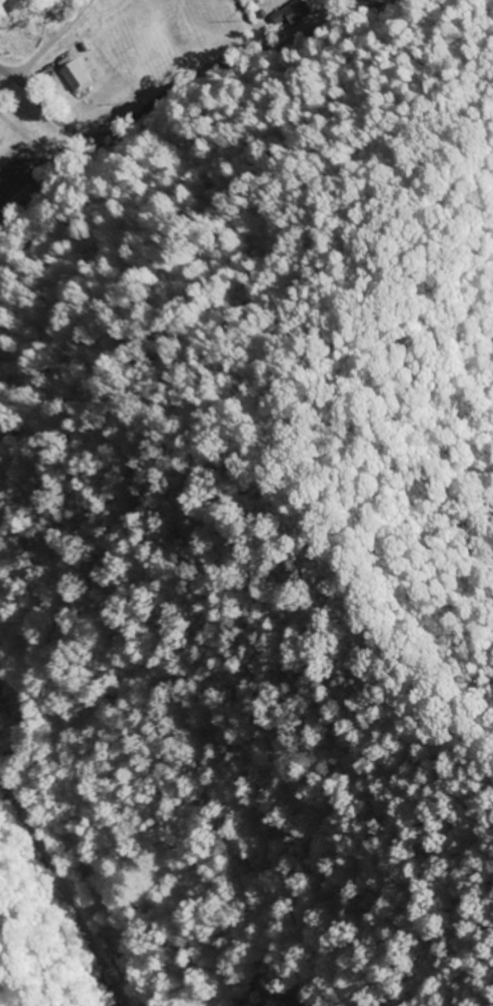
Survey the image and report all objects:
building: (295, 12)
building: (79, 72)
road: (163, 95)

